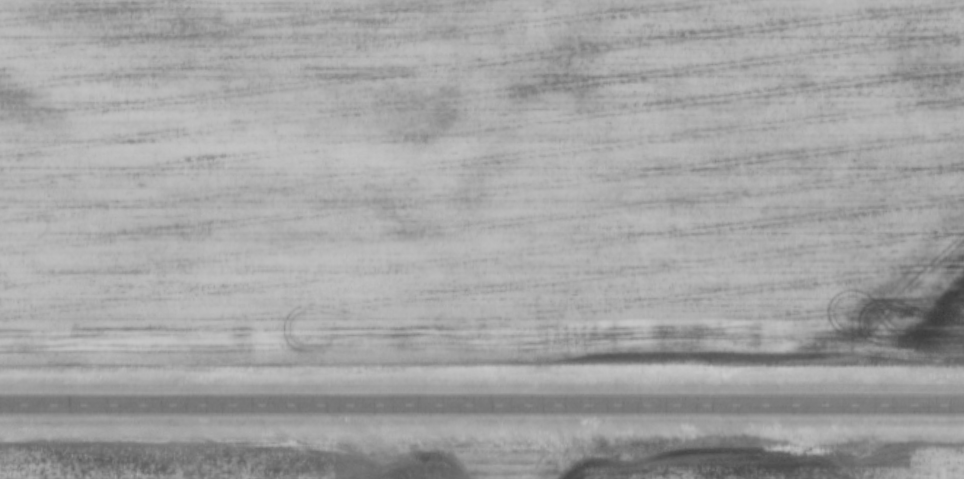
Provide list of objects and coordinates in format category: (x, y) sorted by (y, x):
road: (482, 410)

